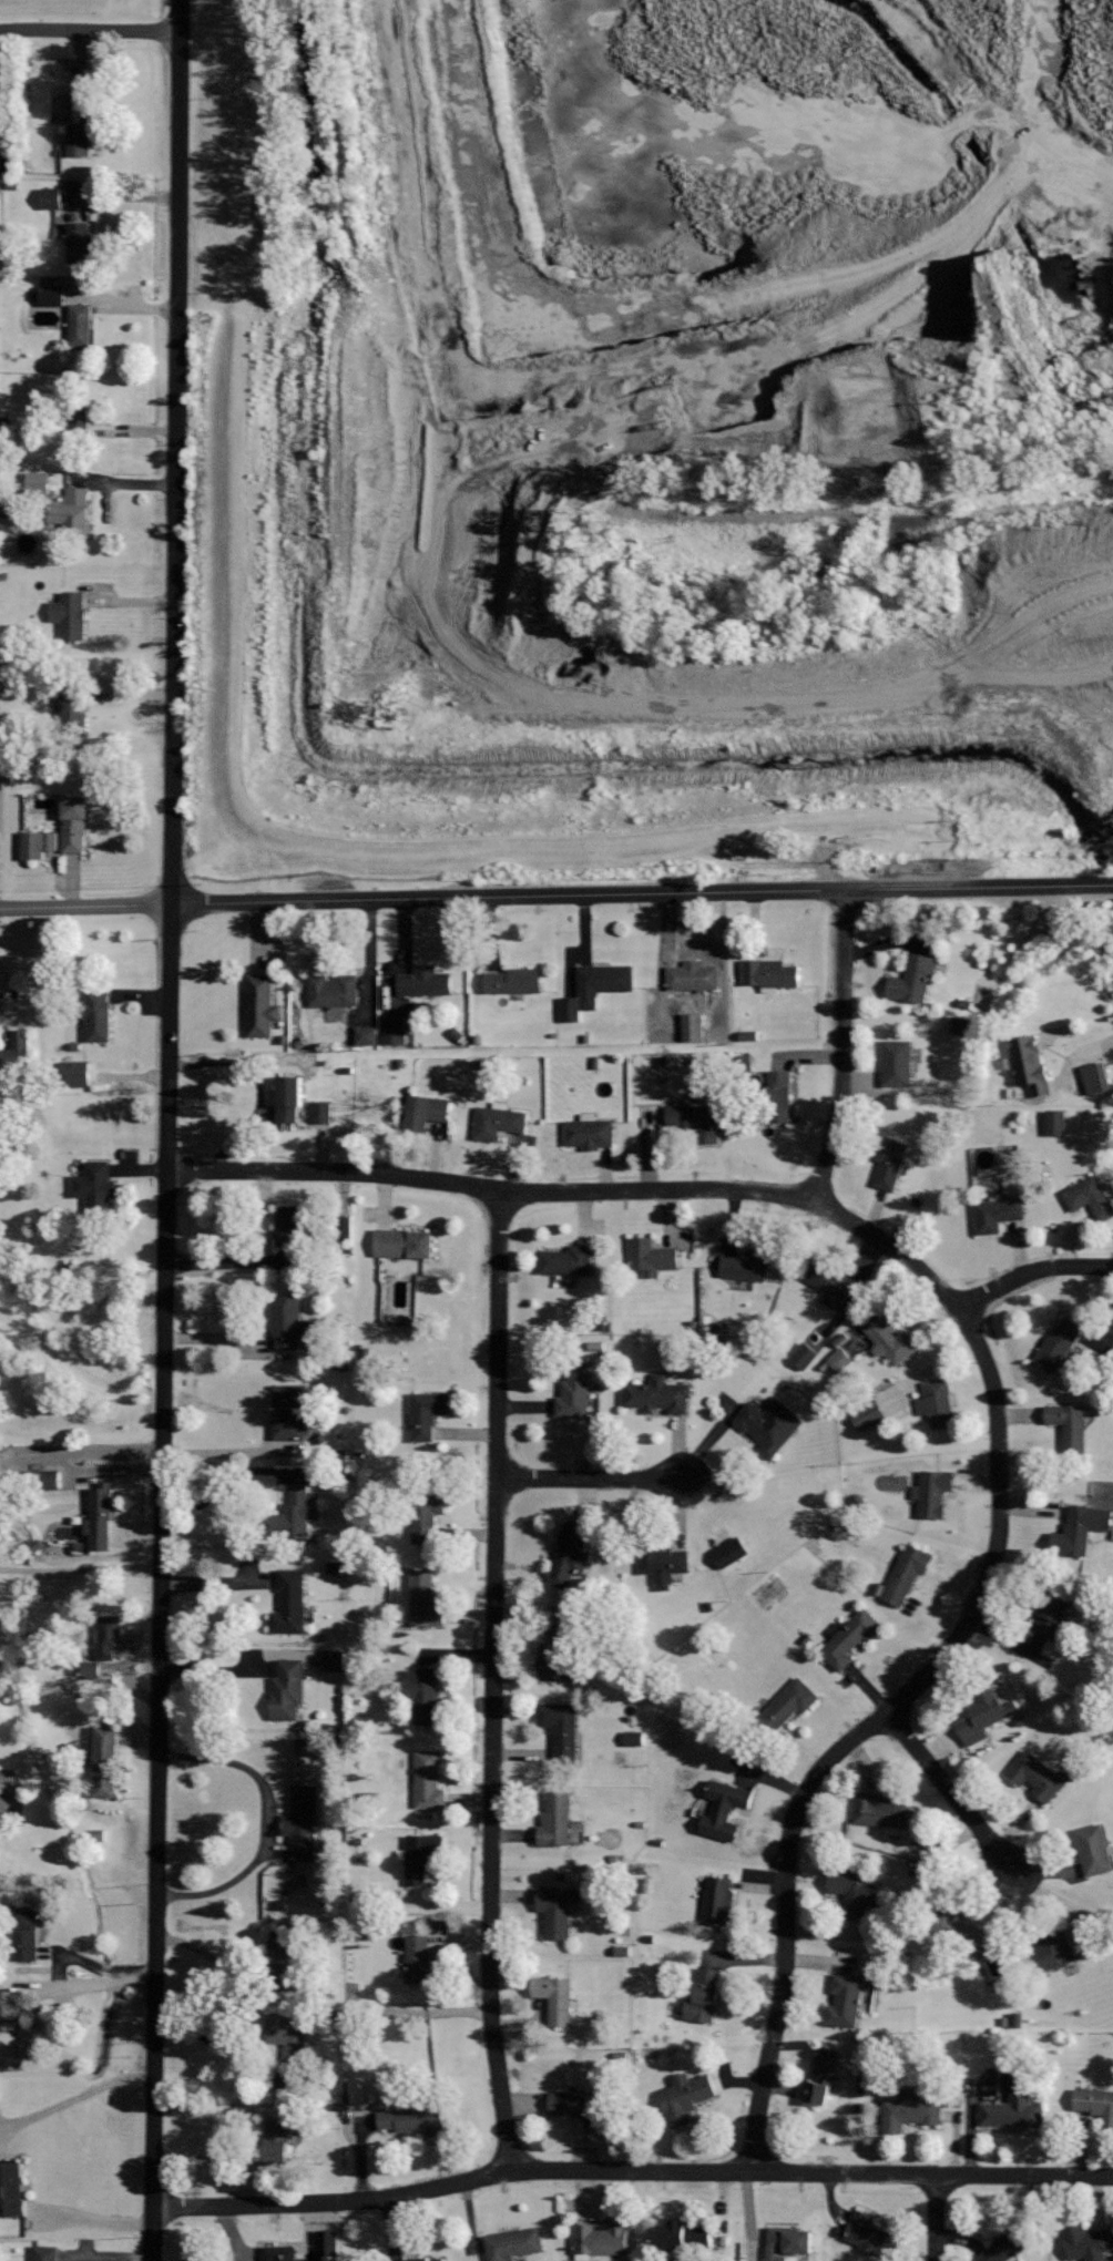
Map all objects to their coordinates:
road: (90, 30)
building: (80, 141)
building: (51, 198)
road: (439, 209)
building: (80, 244)
building: (52, 297)
building: (80, 326)
building: (82, 416)
quarry: (643, 448)
building: (40, 482)
building: (71, 509)
building: (70, 615)
road: (1028, 677)
road: (521, 684)
building: (73, 709)
building: (73, 823)
road: (935, 825)
building: (39, 845)
road: (555, 896)
building: (769, 972)
building: (692, 974)
building: (514, 979)
building: (912, 979)
building: (425, 980)
building: (594, 988)
building: (333, 989)
building: (2, 1003)
building: (261, 1004)
building: (98, 1016)
building: (963, 1026)
building: (693, 1027)
building: (394, 1031)
building: (366, 1036)
building: (748, 1036)
road: (1104, 1042)
road: (841, 1047)
building: (17, 1051)
building: (897, 1062)
building: (1030, 1062)
building: (75, 1074)
building: (1097, 1078)
building: (777, 1095)
building: (288, 1097)
road: (169, 1104)
building: (321, 1112)
building: (425, 1112)
building: (696, 1119)
building: (498, 1122)
building: (1058, 1124)
building: (589, 1133)
building: (886, 1156)
building: (95, 1186)
building: (1090, 1196)
building: (998, 1214)
building: (292, 1235)
building: (339, 1236)
building: (404, 1242)
building: (652, 1256)
building: (568, 1260)
building: (752, 1266)
road: (1031, 1271)
building: (829, 1282)
building: (289, 1320)
building: (894, 1339)
building: (1056, 1344)
building: (844, 1353)
building: (805, 1355)
road: (984, 1361)
building: (574, 1391)
building: (658, 1394)
building: (937, 1403)
building: (290, 1411)
building: (428, 1412)
building: (870, 1418)
building: (1069, 1424)
building: (769, 1425)
road: (591, 1477)
building: (51, 1482)
building: (932, 1492)
building: (293, 1514)
building: (425, 1515)
building: (100, 1518)
building: (1079, 1531)
building: (732, 1553)
building: (566, 1558)
building: (664, 1562)
building: (337, 1568)
road: (80, 1571)
building: (906, 1574)
building: (425, 1599)
building: (290, 1602)
building: (1051, 1615)
building: (109, 1638)
building: (849, 1638)
building: (556, 1658)
building: (335, 1661)
building: (92, 1672)
road: (494, 1681)
building: (287, 1688)
building: (426, 1696)
building: (787, 1705)
building: (984, 1713)
building: (560, 1728)
building: (635, 1739)
building: (106, 1763)
building: (1035, 1774)
building: (427, 1780)
road: (951, 1793)
building: (724, 1809)
building: (880, 1810)
building: (554, 1818)
road: (268, 1820)
building: (302, 1822)
building: (1093, 1850)
building: (421, 1855)
building: (856, 1891)
building: (717, 1899)
building: (555, 1910)
building: (958, 1928)
building: (25, 1933)
building: (1053, 1948)
building: (623, 1952)
building: (283, 1960)
building: (421, 1961)
building: (703, 1996)
building: (555, 1997)
building: (844, 1999)
building: (8, 2009)
building: (288, 2039)
building: (821, 2075)
building: (364, 2090)
building: (684, 2097)
road: (73, 2099)
building: (1094, 2104)
building: (580, 2105)
building: (908, 2110)
building: (1012, 2111)
building: (412, 2118)
building: (275, 2142)
road: (631, 2171)
building: (11, 2188)
road: (937, 2218)
road: (93, 2221)
building: (681, 2233)
road: (152, 2234)
building: (871, 2234)
building: (598, 2240)
building: (787, 2241)
building: (1088, 2241)
building: (328, 2242)
building: (514, 2242)
building: (1005, 2244)
building: (279, 2252)
building: (45, 2253)
building: (425, 2259)

